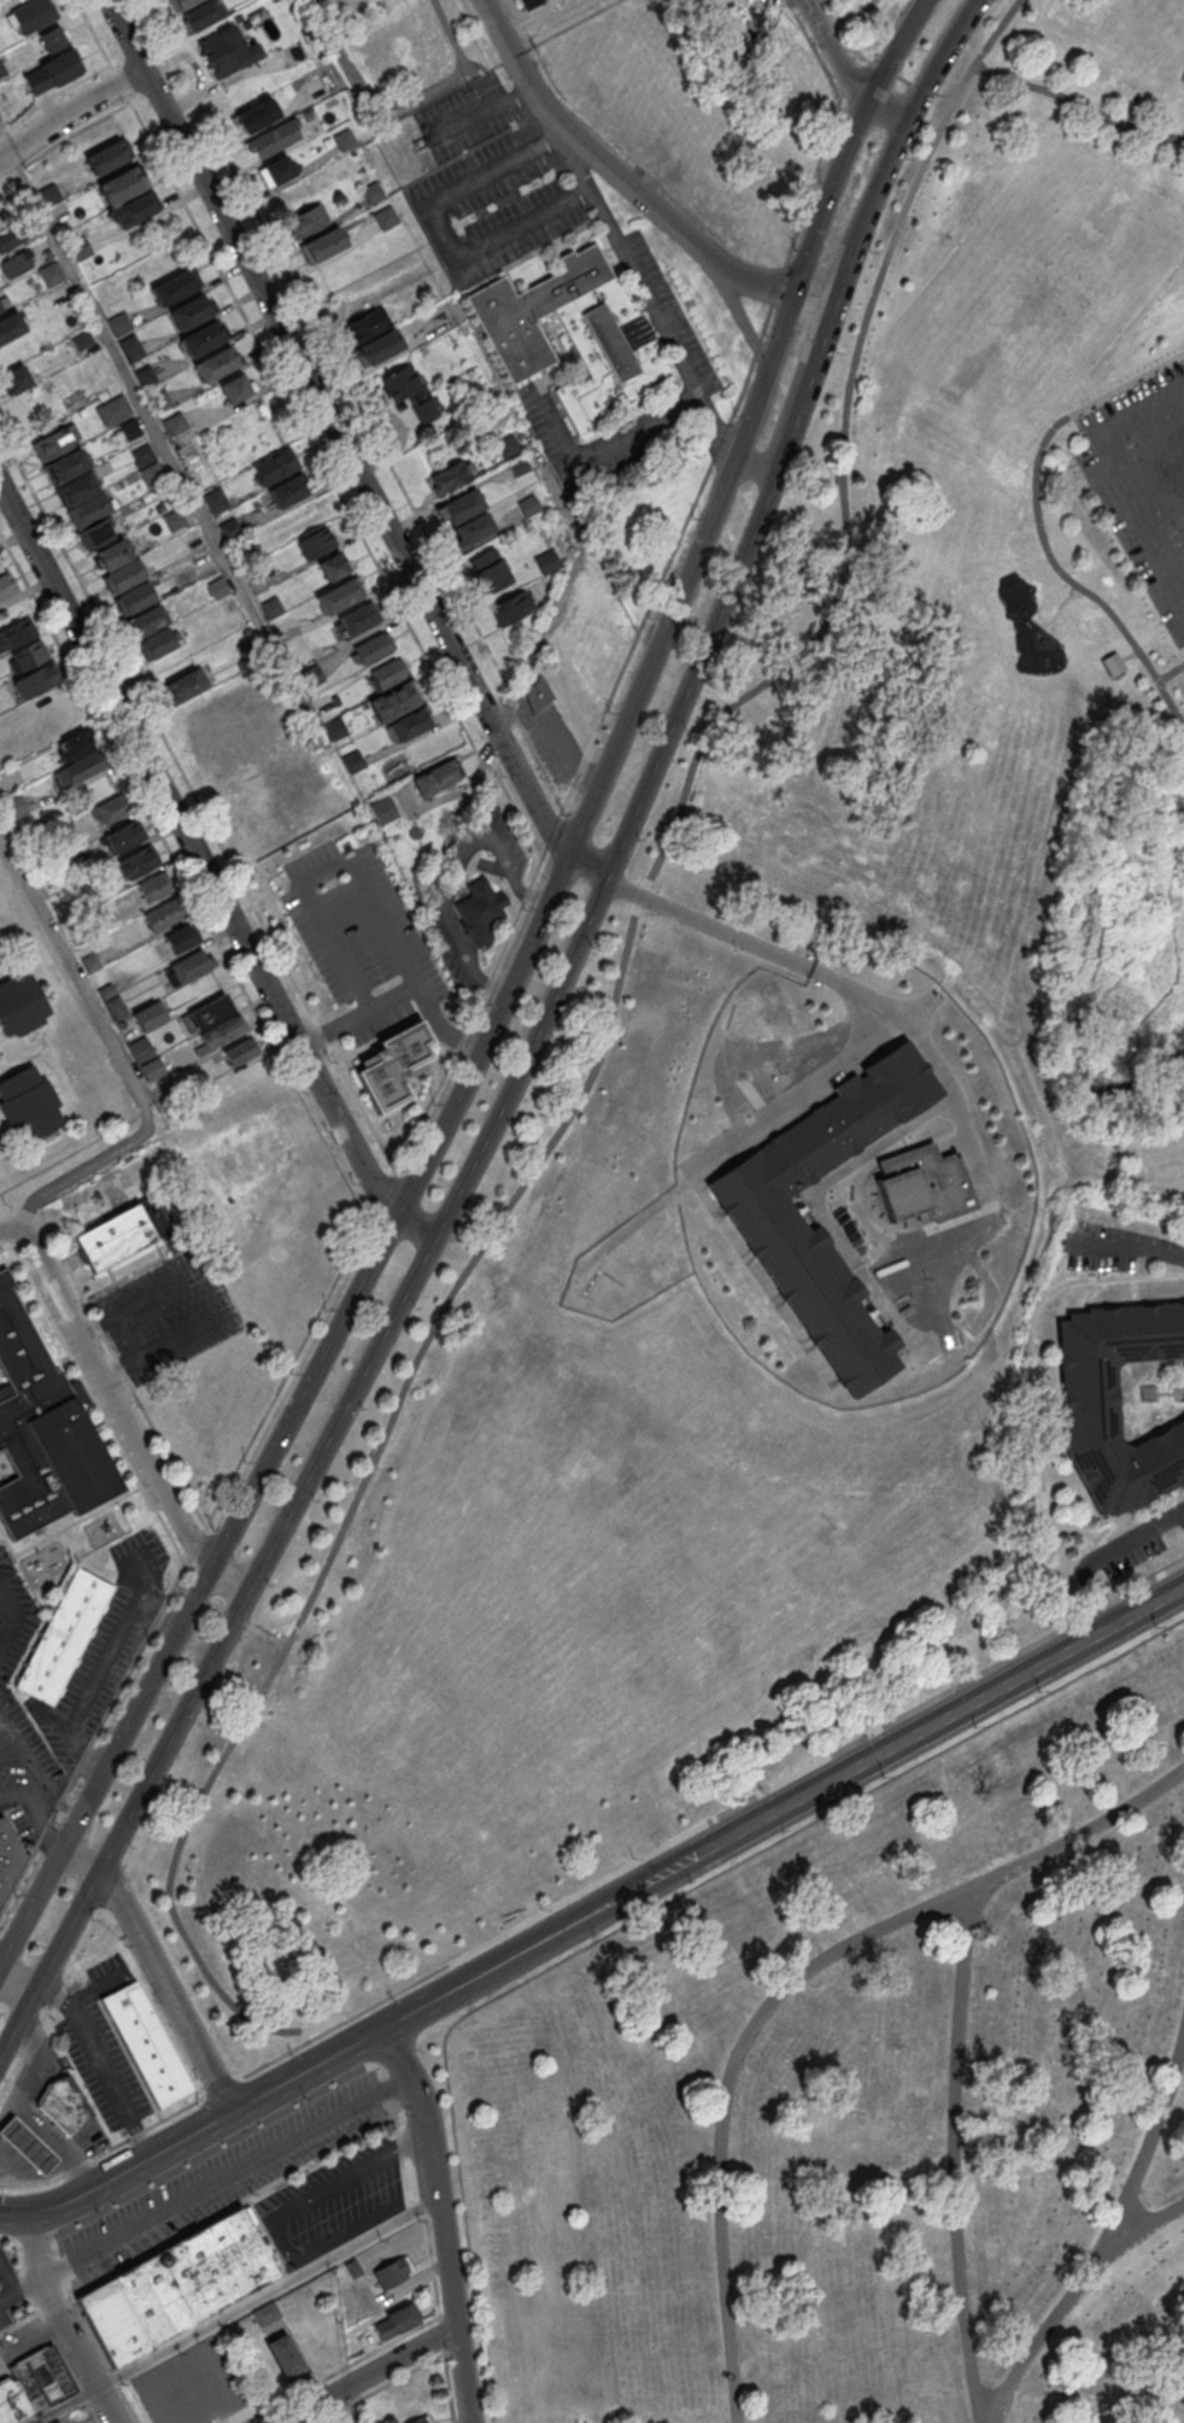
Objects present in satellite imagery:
building: (528, 4)
building: (198, 12)
building: (34, 14)
park: (1162, 14)
park: (858, 18)
building: (53, 37)
building: (228, 51)
building: (1, 70)
road: (843, 71)
building: (52, 72)
road: (1078, 107)
road: (70, 111)
road: (483, 112)
building: (256, 116)
road: (561, 133)
road: (850, 137)
building: (275, 139)
building: (344, 140)
road: (556, 141)
building: (106, 156)
building: (277, 171)
road: (615, 171)
building: (121, 186)
building: (371, 192)
building: (135, 209)
building: (386, 217)
building: (309, 221)
building: (323, 245)
building: (174, 287)
road: (815, 292)
park: (1034, 295)
road: (734, 306)
building: (189, 311)
building: (0, 317)
building: (11, 329)
building: (574, 334)
building: (375, 335)
building: (201, 338)
building: (81, 339)
building: (215, 364)
road: (133, 384)
building: (234, 387)
road: (1182, 388)
building: (409, 391)
building: (160, 399)
building: (175, 422)
road: (334, 427)
building: (130, 428)
road: (610, 445)
building: (142, 453)
road: (1160, 453)
building: (275, 464)
road: (754, 464)
building: (65, 466)
building: (152, 473)
road: (1112, 475)
building: (451, 478)
parking lot: (1143, 484)
building: (78, 486)
building: (287, 492)
building: (92, 508)
building: (523, 509)
building: (467, 519)
road: (1038, 525)
building: (94, 534)
building: (315, 543)
building: (112, 552)
building: (333, 566)
building: (125, 575)
building: (6, 584)
building: (137, 596)
building: (339, 596)
building: (502, 596)
road: (1060, 607)
building: (148, 619)
building: (356, 620)
building: (19, 632)
building: (158, 643)
building: (373, 648)
building: (30, 655)
road: (1170, 672)
building: (386, 674)
building: (36, 680)
building: (184, 685)
building: (538, 695)
building: (393, 701)
building: (408, 724)
building: (335, 730)
building: (78, 769)
building: (436, 778)
road: (555, 789)
building: (16, 807)
building: (110, 810)
building: (383, 810)
building: (123, 837)
road: (194, 853)
road: (590, 859)
building: (137, 862)
road: (458, 868)
building: (154, 886)
road: (532, 892)
road: (375, 897)
building: (481, 912)
building: (164, 915)
road: (508, 935)
building: (181, 938)
road: (799, 964)
building: (188, 967)
road: (485, 985)
building: (20, 1003)
building: (116, 1007)
building: (206, 1013)
building: (147, 1017)
building: (222, 1032)
road: (531, 1046)
building: (140, 1049)
building: (239, 1052)
road: (118, 1060)
building: (395, 1066)
building: (153, 1070)
road: (587, 1082)
building: (28, 1102)
park: (776, 1123)
road: (433, 1140)
wastewater plant: (837, 1184)
building: (922, 1186)
road: (415, 1225)
building: (127, 1235)
road: (1135, 1249)
building: (807, 1276)
road: (215, 1289)
building: (1116, 1403)
road: (122, 1412)
building: (45, 1433)
road: (1106, 1556)
road: (229, 1616)
road: (17, 1619)
building: (65, 1637)
road: (94, 1674)
road: (1, 1720)
road: (940, 1721)
road: (37, 1787)
road: (13, 1803)
building: (11, 1856)
building: (2, 1904)
road: (565, 1927)
road: (158, 1971)
road: (89, 1983)
road: (16, 1985)
road: (787, 1988)
building: (147, 2043)
road: (264, 2049)
road: (33, 2065)
road: (99, 2065)
building: (65, 2105)
park: (863, 2106)
road: (235, 2108)
road: (52, 2136)
building: (27, 2148)
road: (59, 2153)
road: (1145, 2154)
road: (957, 2155)
road: (45, 2165)
road: (18, 2172)
road: (224, 2179)
road: (326, 2185)
road: (17, 2214)
road: (441, 2220)
road: (351, 2230)
road: (37, 2247)
road: (301, 2266)
building: (392, 2270)
building: (177, 2287)
road: (19, 2290)
road: (266, 2294)
road: (1072, 2299)
building: (394, 2322)
road: (76, 2352)
building: (285, 2357)
road: (365, 2375)
building: (34, 2387)
road: (352, 2404)
road: (65, 2405)
building: (422, 2421)

